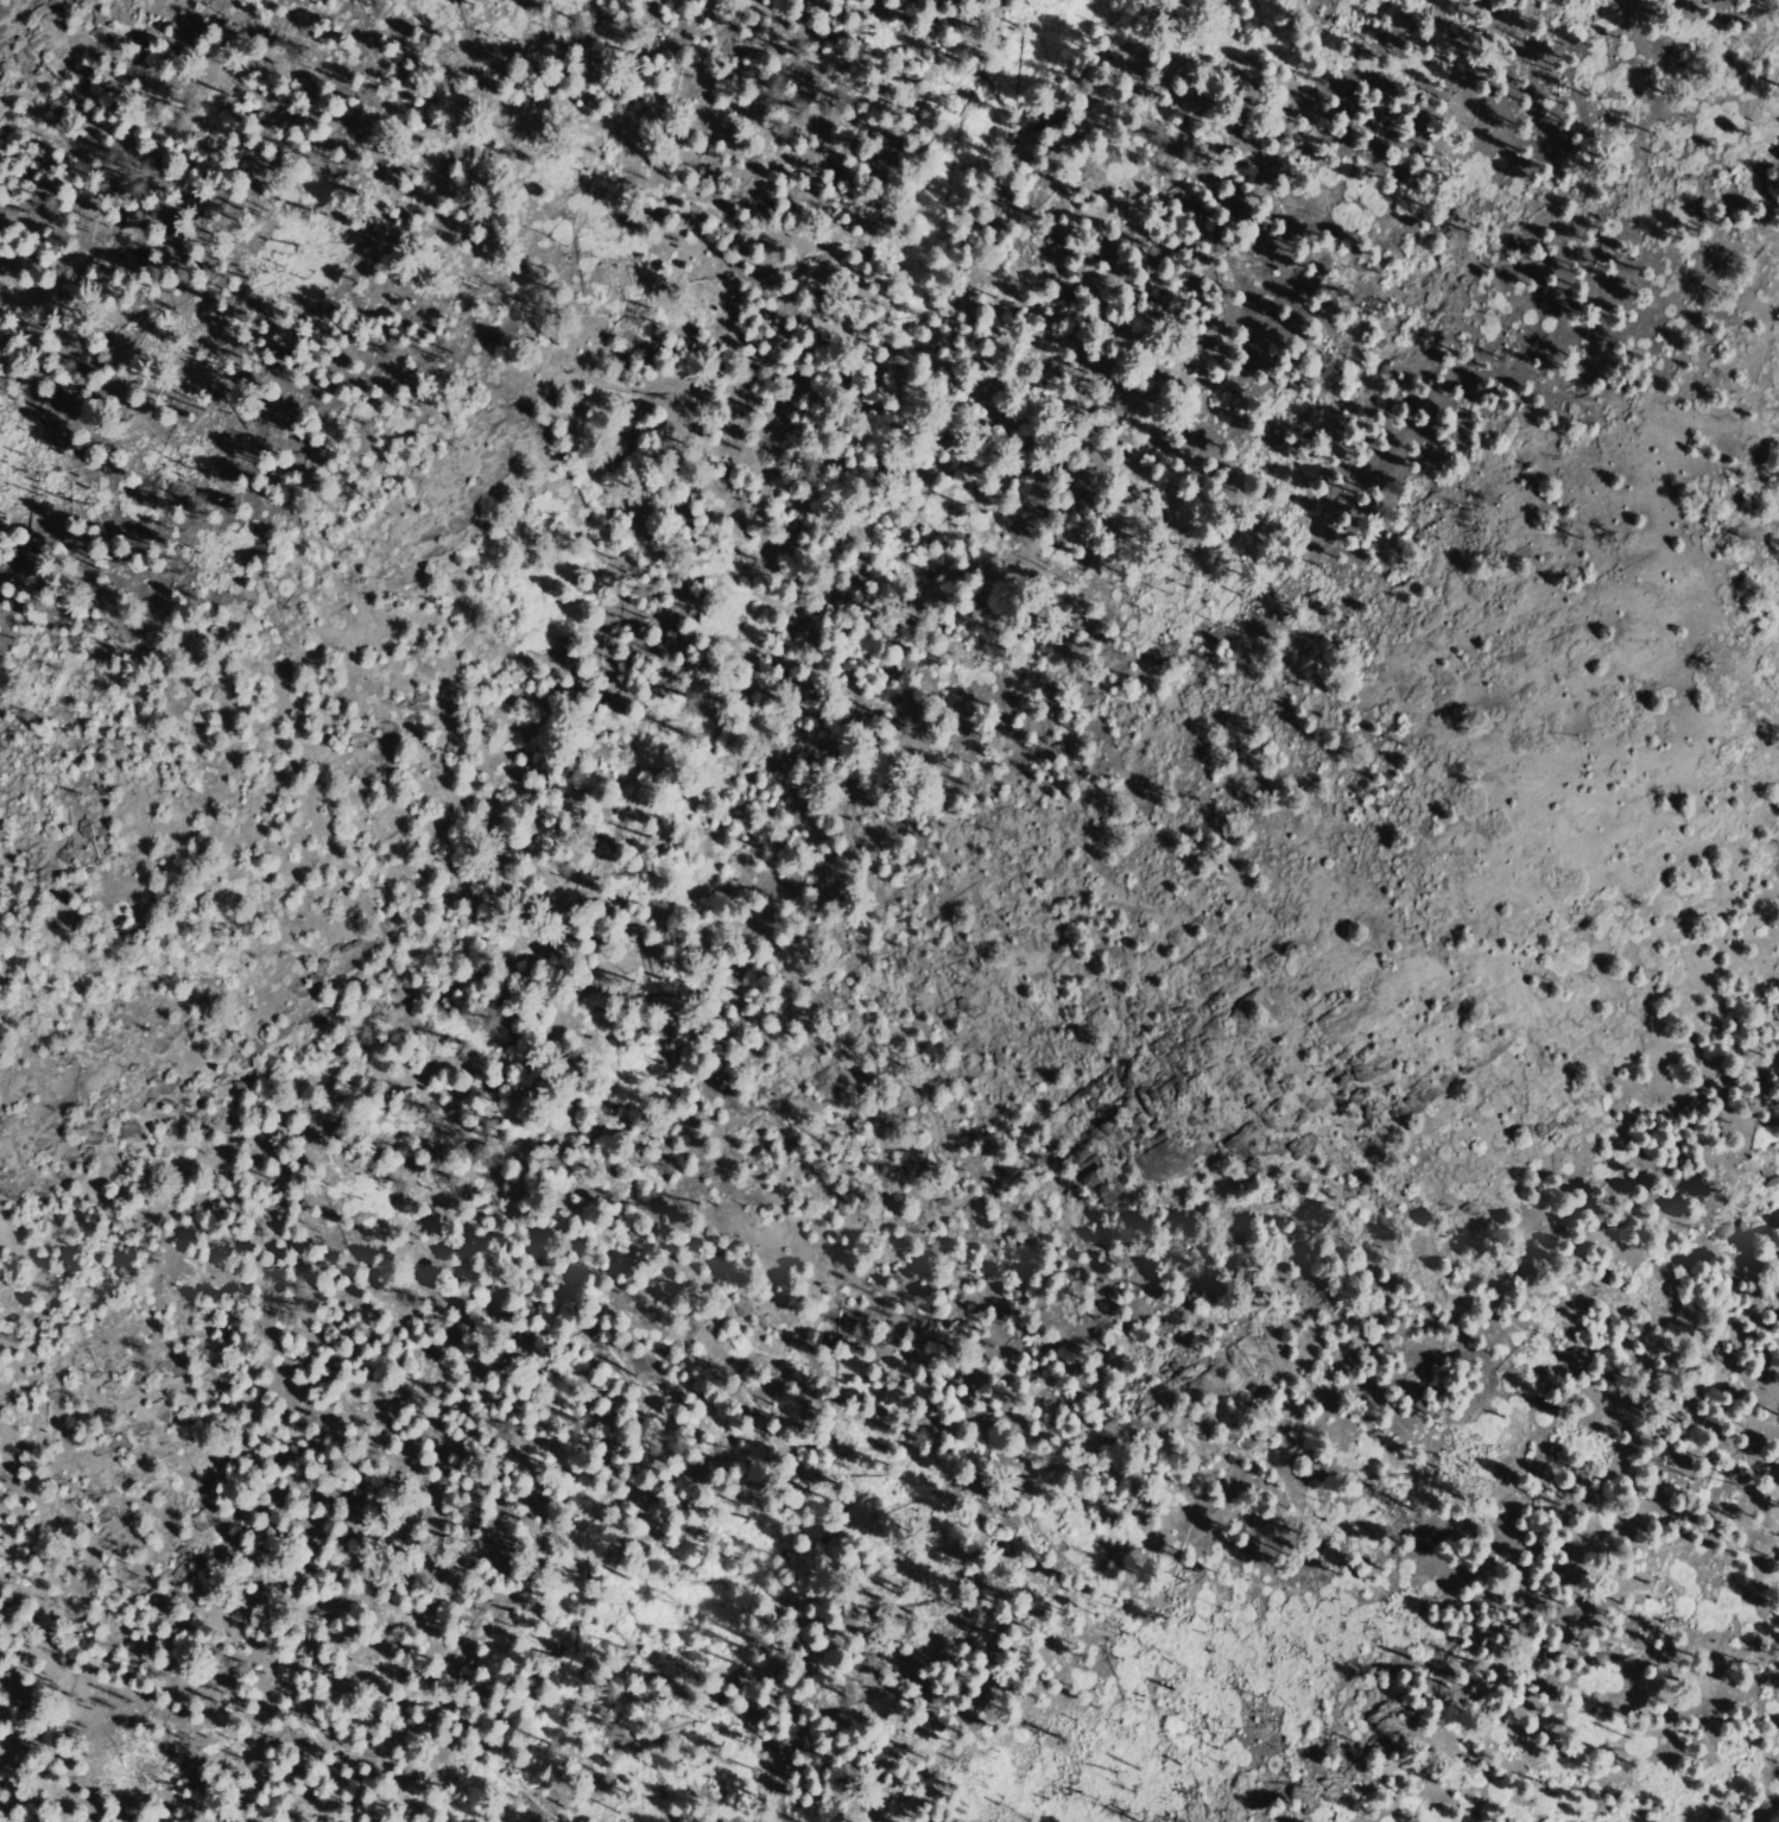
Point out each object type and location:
road: (1759, 1779)

